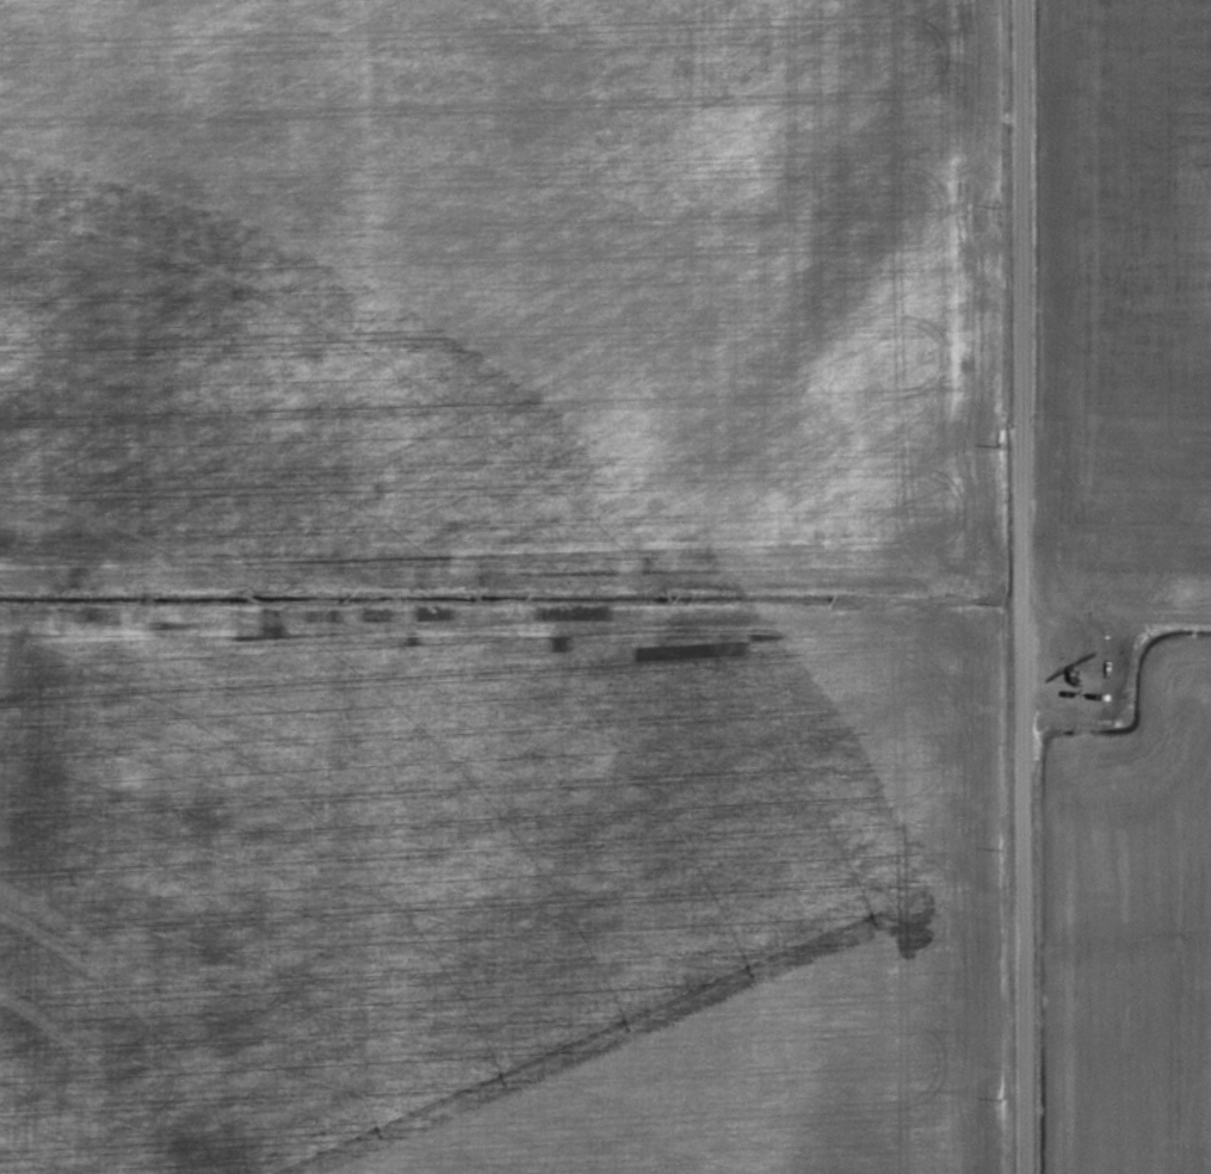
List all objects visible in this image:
road: (1025, 586)
road: (1118, 610)

